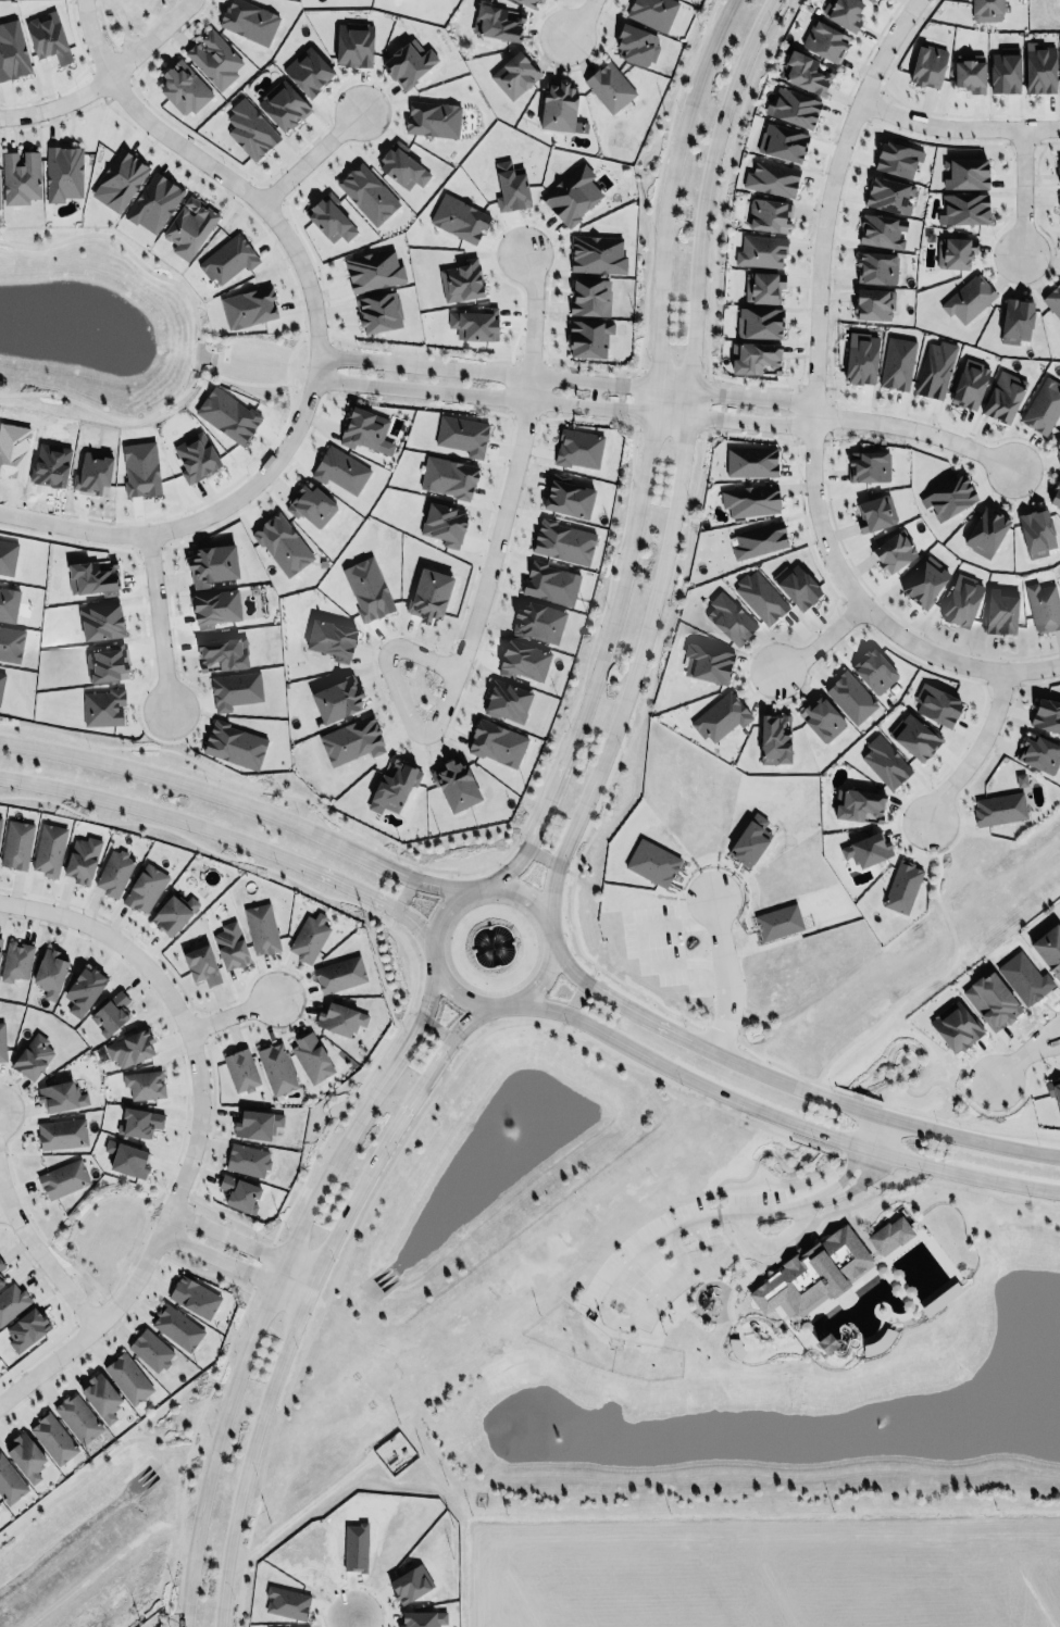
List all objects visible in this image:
building: (870, 0)
building: (872, 0)
building: (526, 2)
building: (984, 11)
building: (650, 12)
building: (841, 13)
road: (579, 17)
building: (249, 21)
building: (497, 22)
road: (104, 23)
building: (46, 35)
building: (352, 43)
building: (636, 43)
building: (821, 43)
building: (12, 51)
building: (1059, 54)
road: (102, 55)
building: (214, 59)
road: (125, 61)
building: (408, 63)
road: (554, 65)
building: (928, 65)
building: (308, 71)
building: (1002, 73)
building: (1037, 73)
building: (514, 74)
building: (967, 74)
road: (76, 75)
building: (801, 75)
road: (105, 77)
road: (96, 84)
building: (608, 85)
building: (184, 87)
road: (119, 89)
building: (283, 104)
building: (556, 104)
road: (872, 104)
road: (918, 105)
building: (790, 110)
building: (428, 117)
road: (957, 123)
building: (249, 128)
road: (1020, 139)
building: (780, 143)
road: (310, 157)
building: (893, 161)
building: (402, 167)
building: (63, 172)
building: (962, 174)
building: (1057, 174)
building: (20, 177)
building: (119, 180)
road: (656, 180)
road: (724, 182)
building: (770, 183)
building: (511, 187)
road: (220, 188)
road: (1022, 190)
road: (273, 191)
building: (367, 193)
building: (571, 195)
building: (885, 197)
building: (153, 203)
building: (1057, 208)
building: (962, 212)
building: (765, 216)
building: (458, 217)
building: (329, 218)
building: (188, 225)
road: (809, 226)
building: (876, 231)
building: (596, 253)
building: (759, 254)
building: (951, 254)
road: (313, 255)
building: (227, 259)
building: (373, 270)
building: (872, 271)
building: (461, 280)
building: (759, 290)
building: (590, 297)
building: (964, 301)
building: (1051, 303)
building: (870, 305)
building: (248, 308)
road: (533, 311)
building: (378, 312)
building: (1013, 324)
building: (473, 325)
building: (756, 325)
fountain: (91, 331)
road: (199, 337)
building: (587, 338)
road: (316, 339)
road: (529, 356)
building: (752, 359)
building: (859, 361)
road: (328, 364)
road: (447, 364)
building: (894, 366)
road: (673, 370)
building: (933, 371)
road: (239, 380)
road: (508, 385)
building: (968, 386)
road: (544, 387)
road: (696, 389)
road: (813, 390)
road: (444, 391)
road: (634, 397)
building: (1000, 398)
road: (416, 400)
road: (706, 403)
road: (812, 405)
road: (881, 408)
building: (1042, 408)
road: (796, 411)
road: (523, 414)
road: (694, 416)
road: (586, 417)
road: (828, 417)
building: (363, 429)
road: (915, 429)
road: (668, 430)
building: (462, 435)
building: (1057, 453)
building: (195, 456)
road: (645, 458)
building: (748, 464)
road: (678, 465)
building: (337, 468)
building: (865, 470)
building: (445, 476)
building: (1055, 497)
building: (569, 499)
building: (946, 499)
building: (748, 503)
building: (311, 505)
building: (871, 515)
building: (444, 524)
building: (983, 533)
building: (1034, 536)
building: (563, 541)
building: (756, 543)
building: (282, 545)
road: (149, 549)
building: (889, 553)
building: (212, 564)
building: (91, 576)
building: (549, 581)
building: (920, 584)
building: (367, 589)
building: (794, 589)
building: (428, 593)
building: (758, 600)
building: (958, 603)
building: (213, 606)
building: (1040, 609)
road: (853, 611)
building: (998, 614)
building: (100, 621)
road: (158, 621)
building: (538, 622)
building: (726, 622)
building: (332, 639)
road: (467, 639)
road: (818, 639)
building: (10, 644)
building: (223, 652)
building: (523, 661)
building: (105, 664)
building: (704, 665)
road: (445, 666)
road: (933, 667)
building: (871, 672)
road: (1005, 683)
road: (192, 686)
building: (234, 689)
building: (336, 698)
building: (506, 700)
building: (847, 700)
road: (638, 704)
building: (933, 706)
building: (102, 708)
building: (1045, 717)
road: (396, 719)
building: (716, 719)
building: (819, 721)
building: (910, 738)
building: (351, 740)
building: (494, 741)
building: (771, 741)
building: (233, 744)
road: (974, 749)
building: (1035, 755)
building: (882, 765)
building: (394, 781)
building: (454, 784)
road: (238, 800)
building: (856, 808)
building: (996, 811)
building: (0, 821)
road: (229, 836)
building: (749, 840)
building: (15, 843)
building: (47, 849)
building: (863, 851)
road: (543, 854)
building: (80, 859)
road: (463, 864)
building: (114, 872)
road: (488, 885)
building: (145, 888)
building: (899, 888)
road: (402, 892)
road: (364, 906)
building: (171, 912)
building: (777, 922)
building: (262, 927)
building: (309, 937)
building: (0, 939)
building: (230, 944)
fountain: (491, 946)
building: (1048, 950)
building: (16, 961)
building: (200, 964)
building: (49, 972)
road: (726, 972)
building: (339, 973)
road: (923, 983)
building: (84, 990)
road: (307, 991)
road: (574, 996)
building: (992, 1000)
road: (234, 1011)
building: (111, 1013)
building: (337, 1017)
road: (198, 1024)
road: (435, 1029)
building: (951, 1029)
road: (1046, 1031)
road: (719, 1035)
road: (1046, 1038)
building: (2, 1043)
building: (130, 1048)
building: (312, 1056)
building: (30, 1057)
road: (1012, 1060)
building: (276, 1068)
road: (910, 1068)
building: (241, 1069)
road: (961, 1074)
building: (142, 1082)
road: (787, 1082)
road: (958, 1090)
building: (1053, 1091)
building: (62, 1096)
road: (895, 1104)
road: (945, 1113)
road: (781, 1116)
building: (139, 1123)
building: (257, 1124)
road: (392, 1126)
road: (195, 1128)
fountain: (519, 1129)
building: (61, 1132)
road: (407, 1139)
road: (855, 1147)
building: (126, 1157)
road: (756, 1159)
road: (874, 1159)
building: (247, 1160)
road: (869, 1163)
building: (63, 1178)
road: (1, 1185)
road: (980, 1190)
road: (159, 1193)
building: (239, 1193)
road: (95, 1199)
road: (144, 1207)
road: (718, 1213)
road: (177, 1225)
road: (797, 1238)
road: (241, 1240)
park: (560, 1249)
road: (731, 1249)
road: (41, 1250)
road: (233, 1263)
road: (631, 1263)
parking lot: (645, 1263)
road: (260, 1264)
building: (2, 1265)
building: (823, 1266)
road: (274, 1277)
building: (1, 1280)
building: (192, 1296)
building: (940, 1299)
building: (11, 1301)
road: (89, 1309)
road: (66, 1310)
road: (127, 1312)
road: (611, 1317)
building: (176, 1324)
building: (26, 1329)
building: (825, 1343)
building: (150, 1350)
building: (127, 1375)
building: (100, 1393)
building: (77, 1415)
fountain: (876, 1426)
building: (52, 1435)
fountain: (559, 1436)
road: (253, 1442)
road: (187, 1454)
building: (25, 1456)
road: (91, 1472)
building: (10, 1482)
road: (350, 1582)
building: (410, 1584)
road: (351, 1617)
building: (422, 1618)

